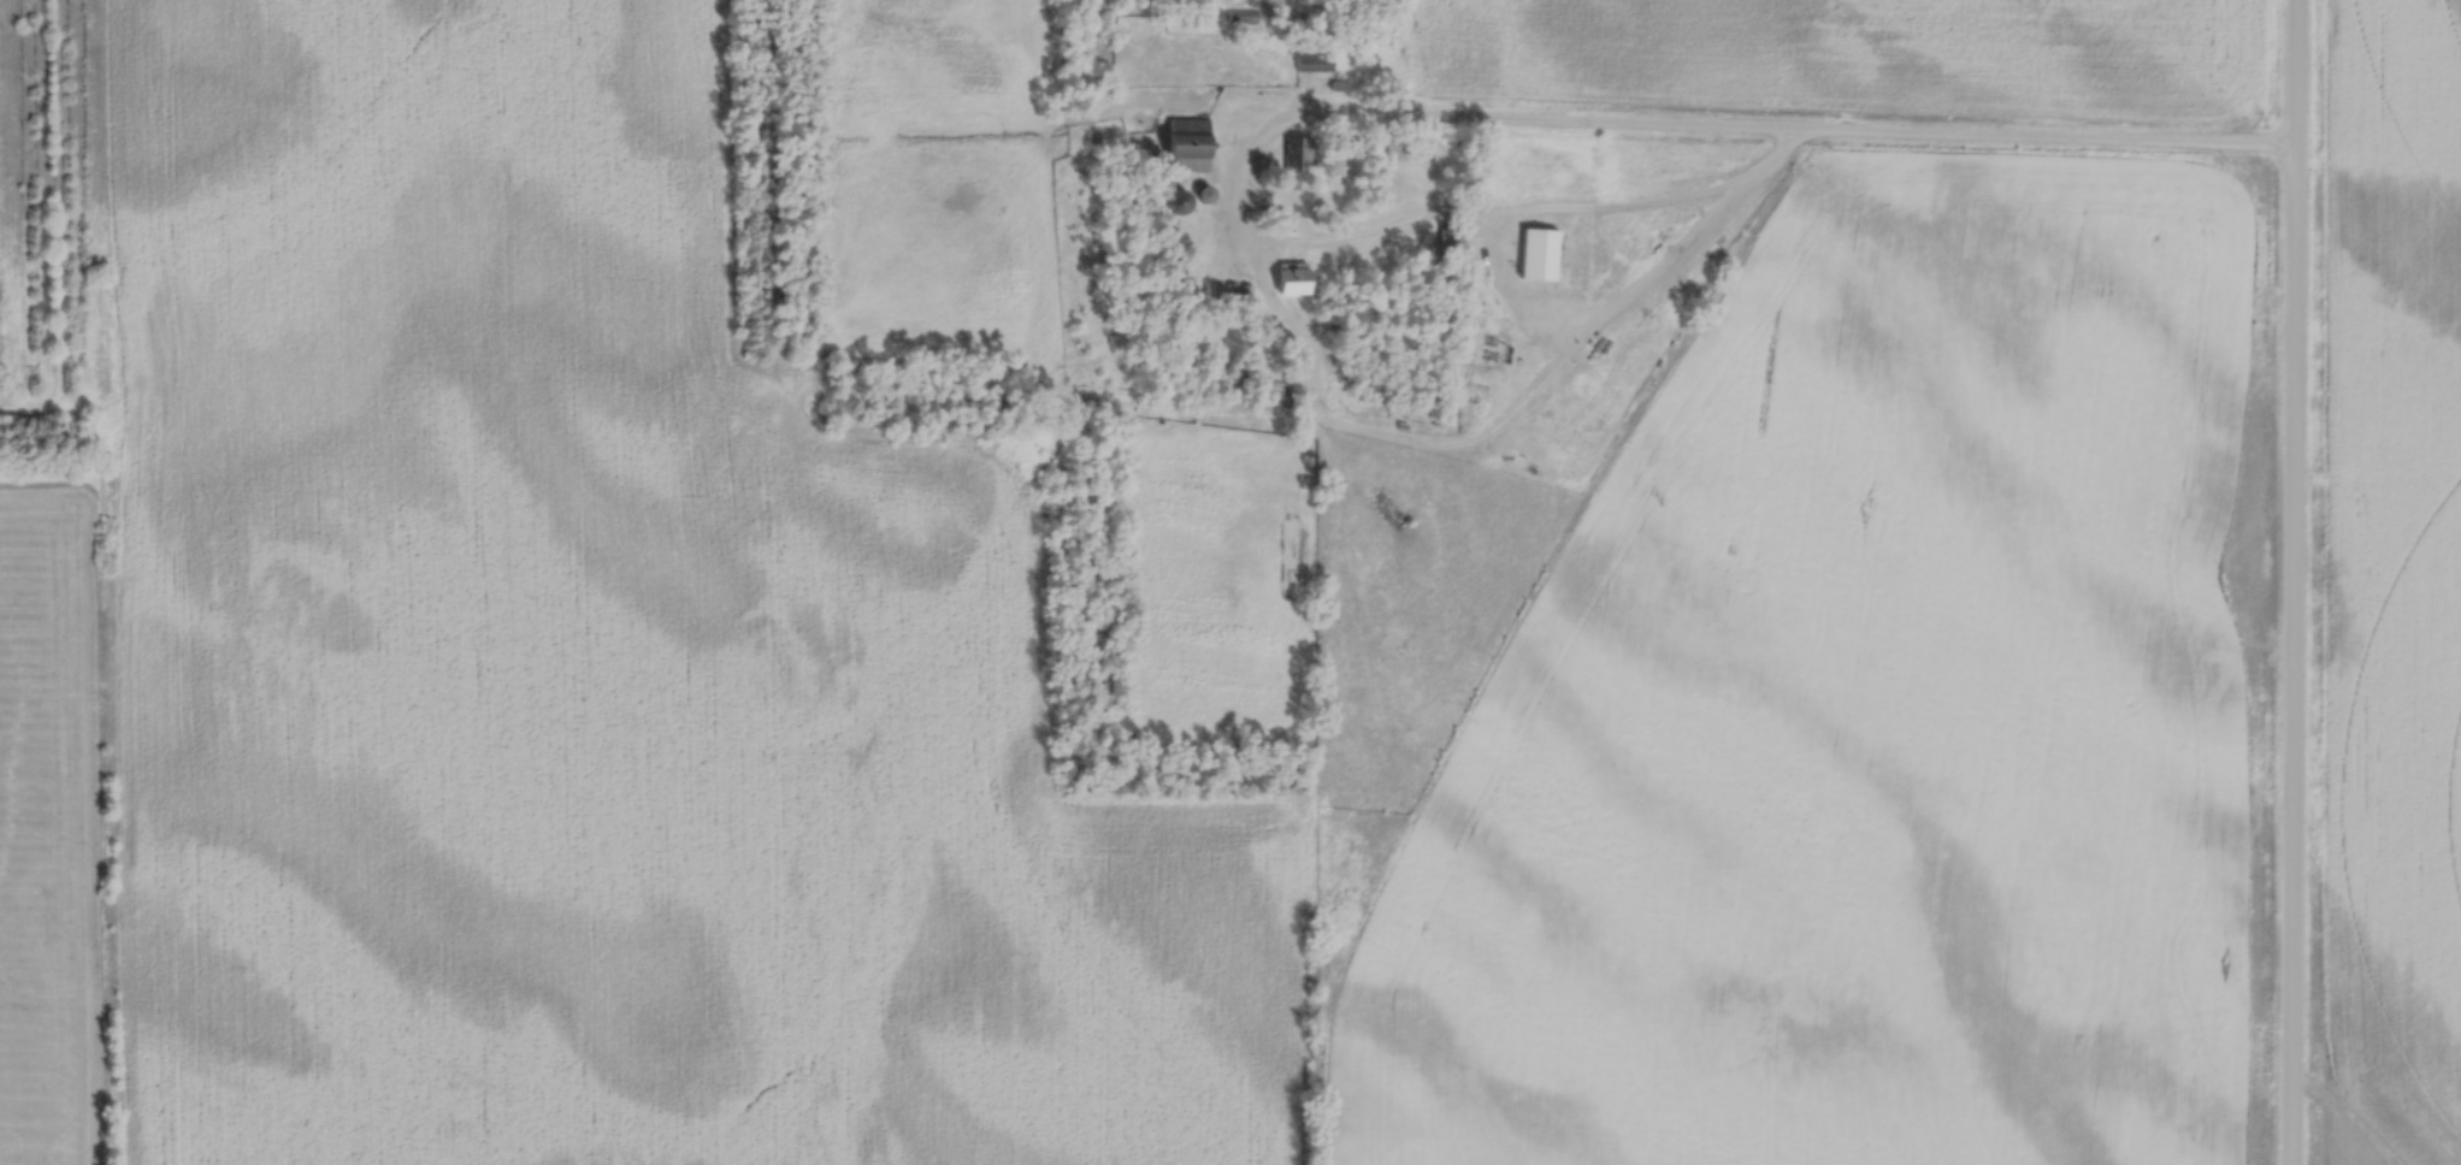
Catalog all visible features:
building: (1311, 61)
road: (1748, 130)
building: (1172, 202)
building: (1452, 239)
building: (1535, 254)
building: (1286, 279)
building: (1223, 291)
road: (2294, 582)

